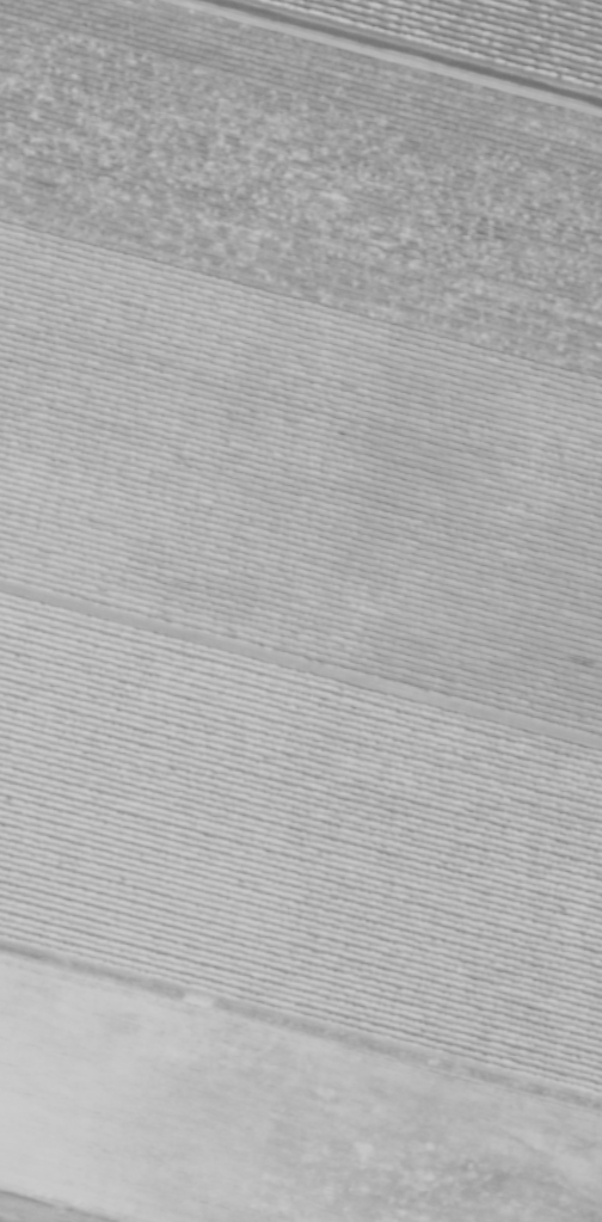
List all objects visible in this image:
road: (51, 1208)

